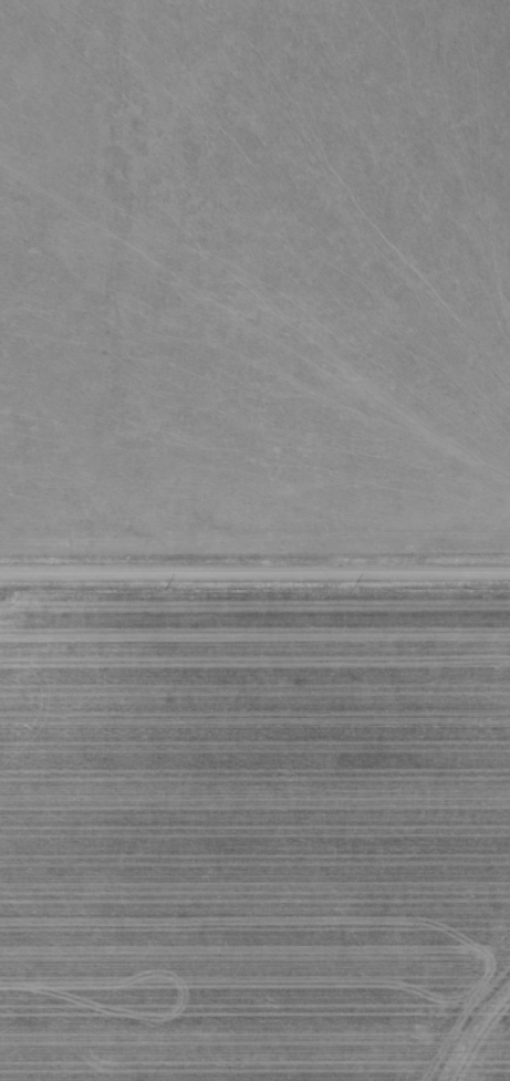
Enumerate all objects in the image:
road: (254, 570)

